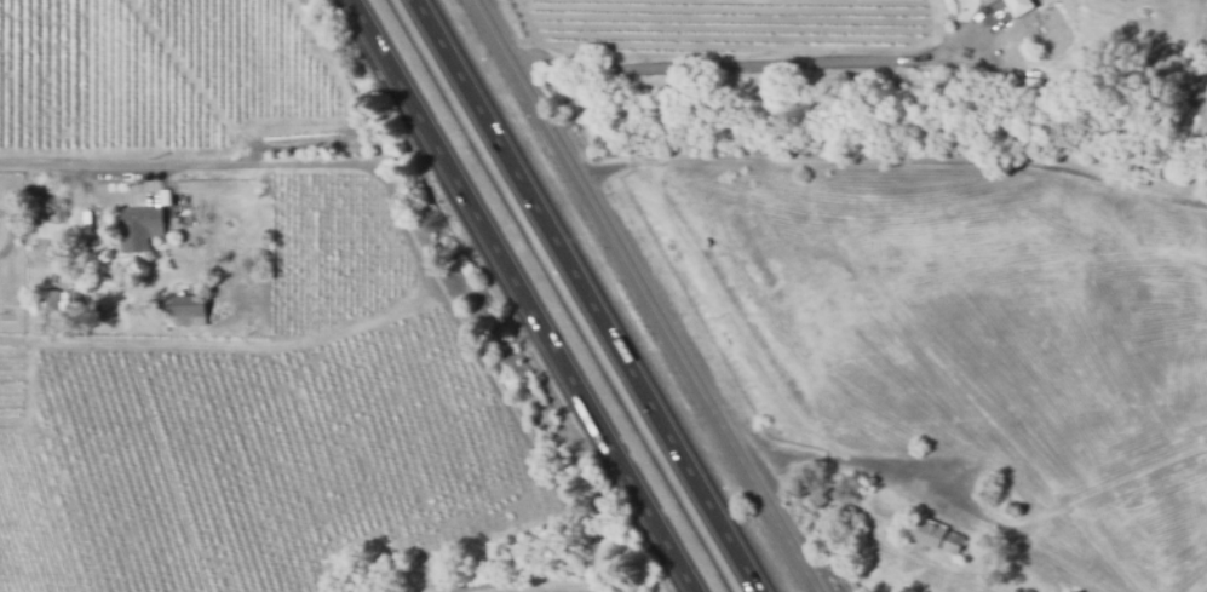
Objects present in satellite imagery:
building: (979, 0)
building: (1021, 6)
road: (757, 64)
road: (897, 163)
road: (176, 166)
building: (176, 219)
building: (140, 228)
building: (62, 289)
building: (71, 295)
road: (522, 295)
road: (586, 295)
road: (640, 295)
building: (46, 305)
building: (186, 311)
road: (506, 407)
road: (919, 488)
road: (1105, 488)
building: (936, 539)

